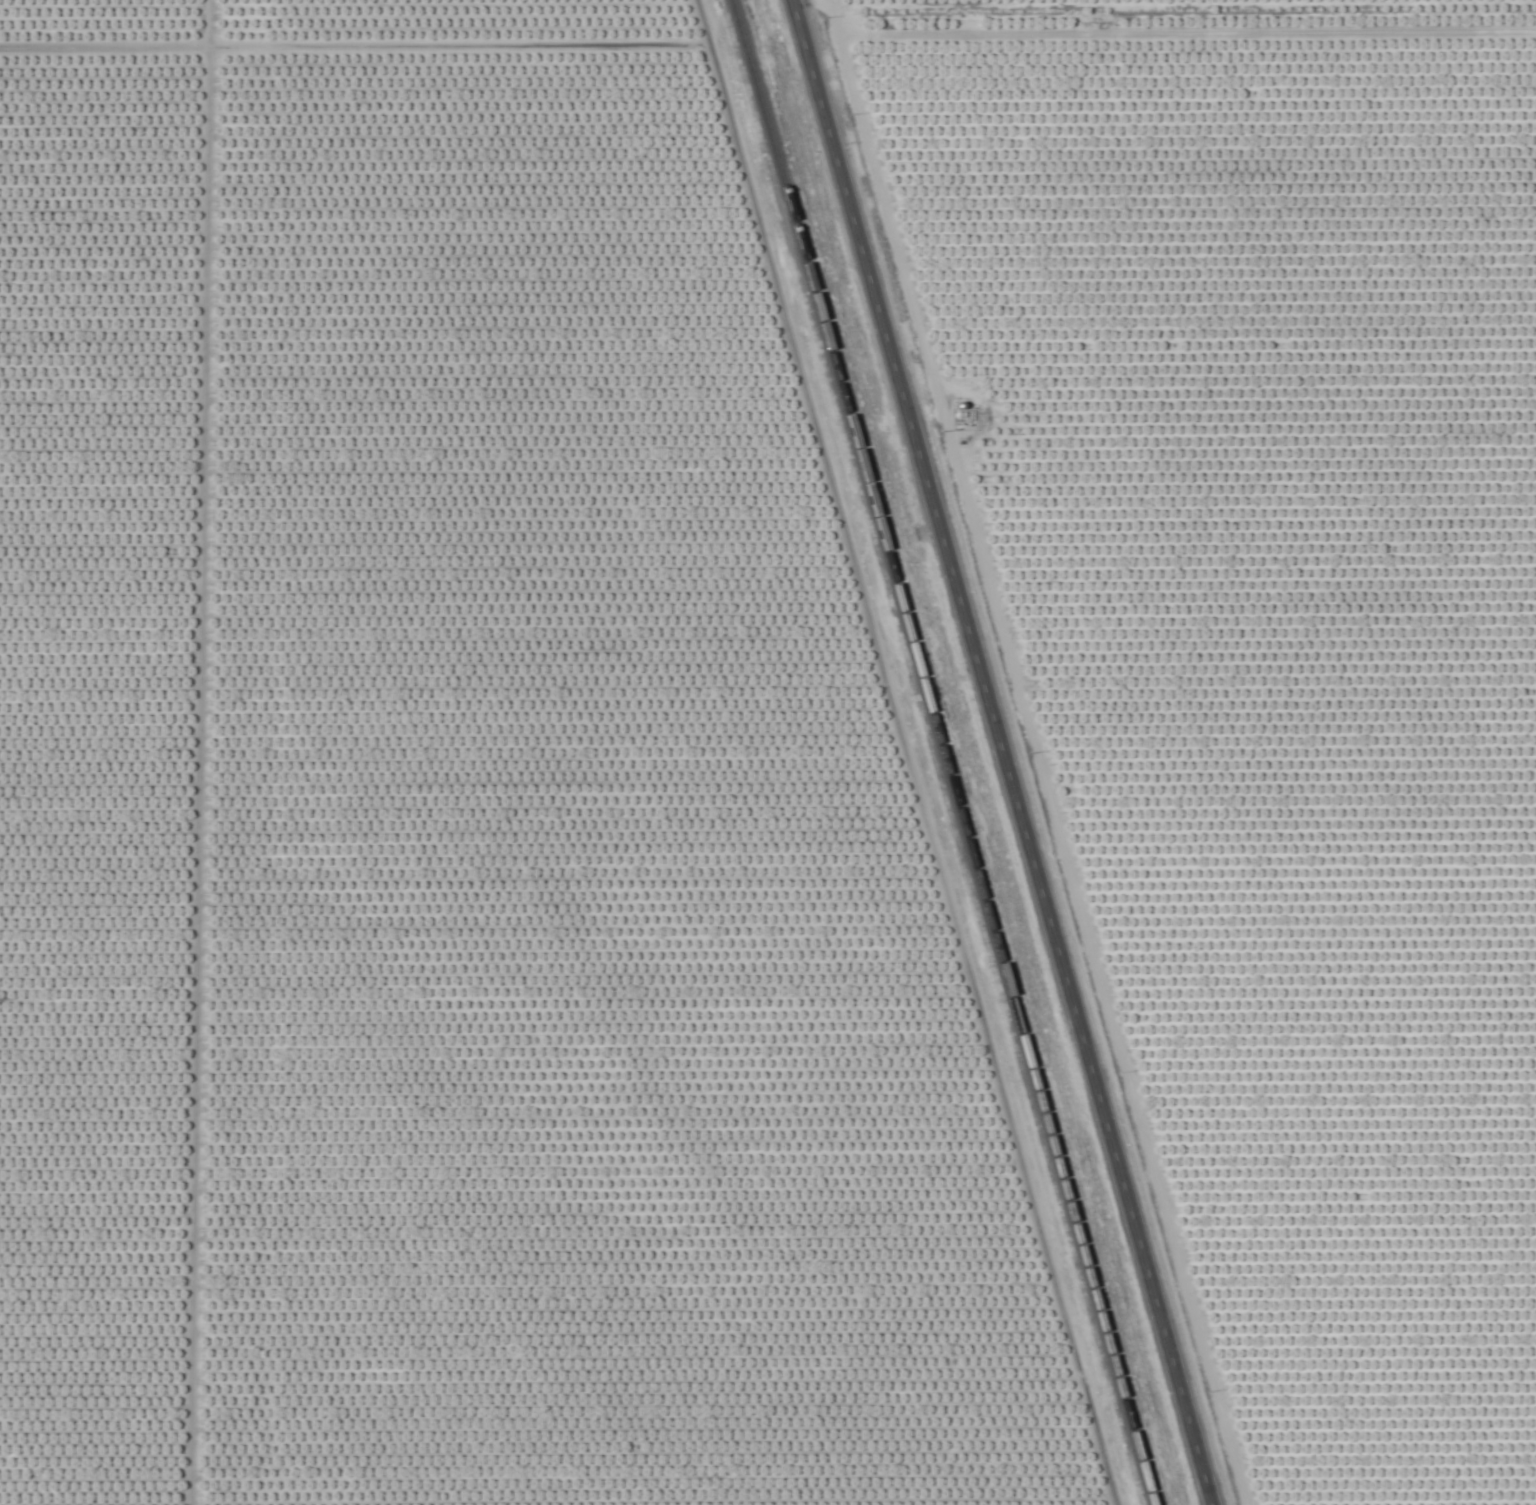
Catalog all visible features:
road: (353, 53)
road: (192, 752)
crop: (768, 752)
railway: (937, 752)
road: (995, 752)

